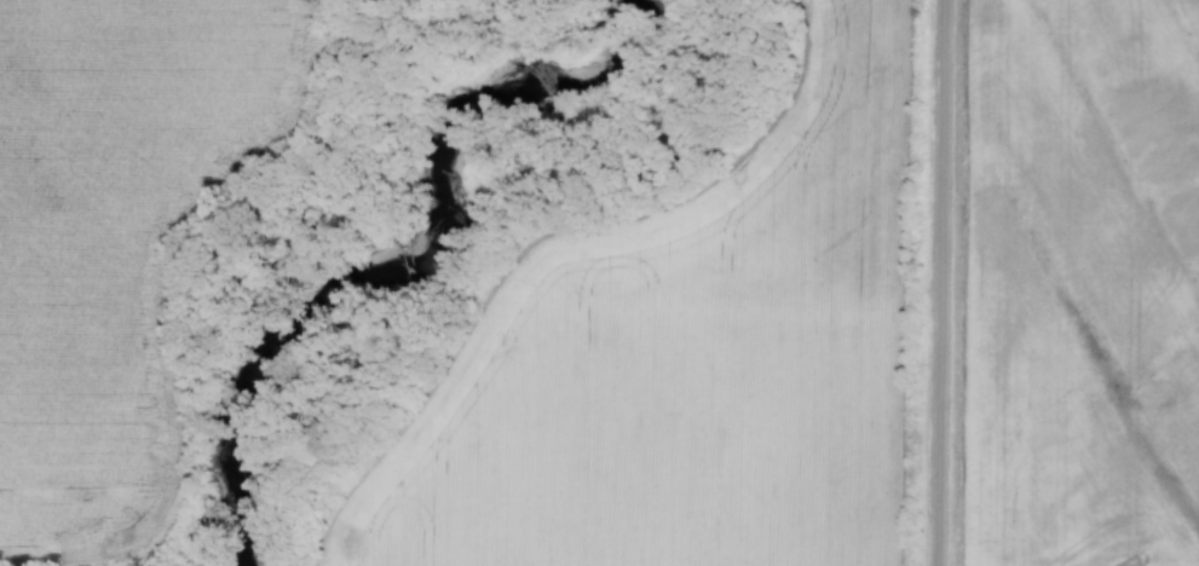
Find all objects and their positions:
road: (945, 283)

